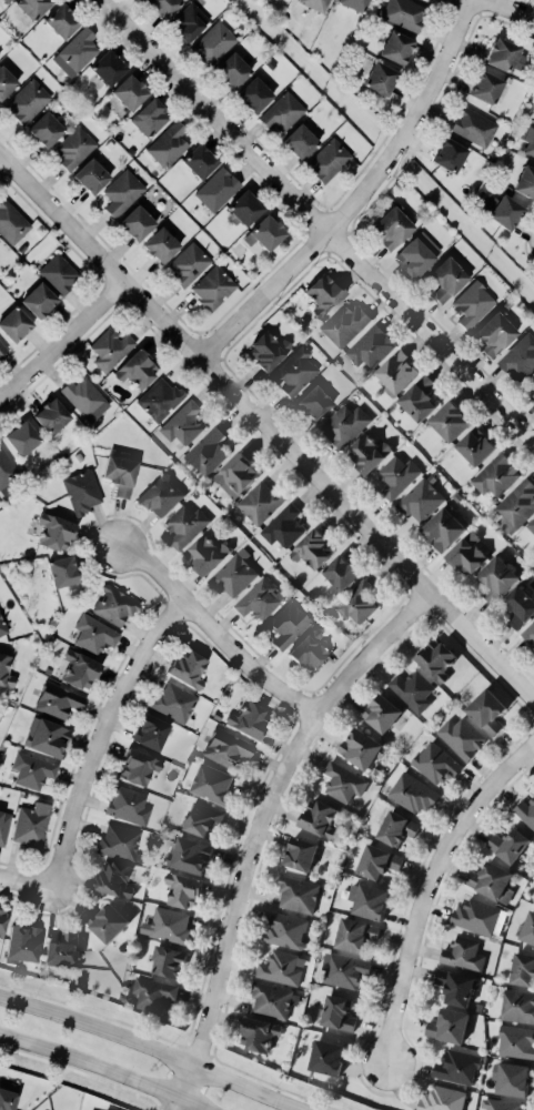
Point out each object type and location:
building: (6, 0)
building: (316, 4)
building: (354, 4)
building: (33, 7)
building: (163, 7)
road: (510, 8)
building: (404, 13)
building: (62, 20)
building: (189, 21)
building: (213, 42)
building: (396, 47)
building: (77, 51)
building: (506, 56)
building: (108, 67)
building: (232, 70)
building: (380, 78)
building: (6, 81)
building: (485, 87)
building: (130, 91)
building: (254, 94)
building: (28, 101)
building: (282, 112)
building: (150, 117)
building: (474, 127)
building: (46, 129)
building: (528, 139)
building: (300, 141)
building: (168, 144)
building: (73, 147)
building: (450, 154)
road: (0, 155)
building: (200, 160)
building: (328, 160)
building: (91, 175)
building: (525, 181)
building: (218, 189)
building: (122, 192)
road: (359, 194)
building: (245, 208)
building: (501, 210)
road: (319, 220)
building: (11, 222)
building: (137, 222)
building: (391, 228)
building: (265, 233)
building: (161, 244)
building: (417, 253)
building: (188, 263)
building: (59, 273)
building: (446, 277)
building: (213, 287)
building: (324, 294)
building: (39, 300)
building: (473, 303)
building: (14, 323)
building: (345, 323)
building: (494, 333)
road: (63, 341)
building: (370, 346)
building: (2, 347)
building: (109, 349)
building: (268, 350)
building: (520, 357)
building: (137, 369)
building: (294, 371)
building: (397, 372)
building: (531, 385)
building: (83, 395)
building: (419, 397)
building: (159, 398)
building: (314, 402)
building: (51, 415)
building: (450, 420)
building: (183, 423)
road: (268, 423)
building: (344, 424)
building: (22, 437)
building: (475, 445)
building: (208, 451)
building: (370, 452)
building: (7, 468)
building: (120, 473)
building: (235, 474)
building: (495, 474)
building: (396, 475)
building: (82, 491)
building: (161, 495)
building: (421, 500)
building: (261, 501)
building: (517, 505)
building: (185, 524)
building: (532, 524)
building: (283, 525)
building: (443, 527)
building: (56, 531)
building: (313, 548)
building: (206, 553)
building: (466, 553)
building: (62, 571)
building: (341, 572)
building: (234, 573)
building: (496, 577)
building: (259, 598)
building: (357, 602)
building: (114, 605)
building: (520, 605)
building: (288, 624)
building: (2, 626)
road: (219, 632)
building: (528, 632)
building: (94, 634)
building: (310, 652)
building: (436, 658)
building: (188, 667)
building: (80, 669)
building: (6, 672)
building: (413, 689)
building: (58, 699)
building: (173, 702)
building: (486, 710)
building: (382, 712)
building: (249, 719)
building: (151, 731)
road: (107, 735)
building: (462, 736)
building: (46, 737)
building: (226, 747)
building: (362, 747)
building: (435, 763)
building: (139, 766)
building: (32, 769)
building: (343, 781)
building: (212, 783)
building: (412, 793)
building: (128, 805)
road: (280, 807)
building: (526, 811)
building: (203, 818)
building: (319, 818)
building: (31, 825)
road: (254, 825)
building: (3, 826)
building: (397, 827)
building: (119, 840)
building: (508, 844)
building: (301, 852)
building: (189, 854)
building: (377, 860)
building: (114, 878)
road: (429, 879)
road: (26, 880)
building: (491, 881)
building: (183, 889)
building: (298, 894)
building: (369, 899)
building: (478, 916)
building: (105, 920)
building: (2, 921)
building: (168, 925)
building: (528, 928)
building: (286, 929)
building: (355, 934)
building: (22, 944)
building: (62, 949)
building: (463, 953)
building: (168, 961)
building: (282, 967)
building: (344, 969)
building: (523, 969)
building: (456, 986)
building: (153, 992)
building: (273, 999)
building: (517, 1005)
building: (337, 1012)
building: (449, 1025)
building: (259, 1032)
building: (516, 1041)
road: (152, 1049)
building: (326, 1056)
building: (457, 1066)
road: (101, 1068)
building: (513, 1078)
building: (8, 1098)
building: (442, 1099)
building: (501, 1103)

